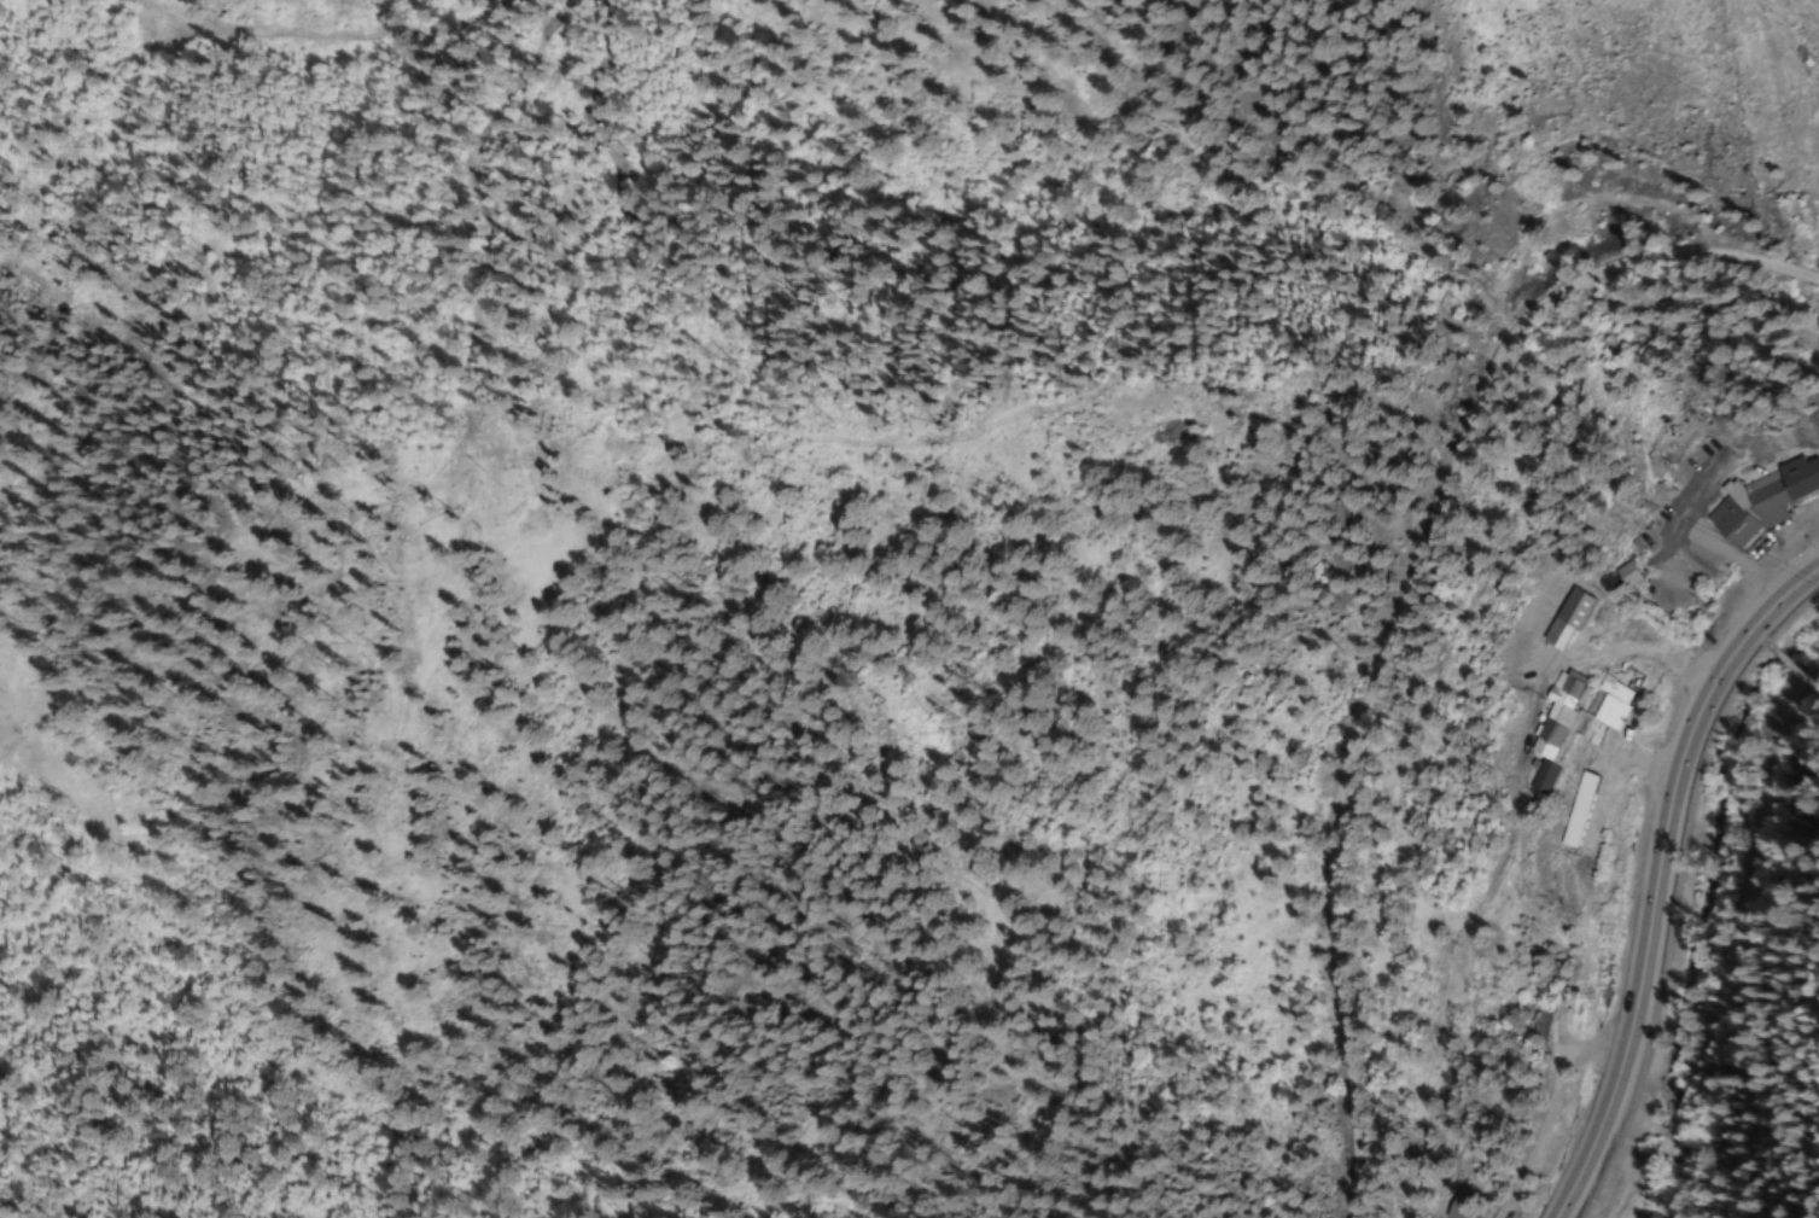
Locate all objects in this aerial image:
building: (1762, 503)
road: (1812, 519)
parking lot: (1801, 523)
building: (1672, 565)
road: (1394, 595)
building: (1561, 619)
building: (1607, 704)
building: (1549, 727)
building: (1574, 809)
road: (1658, 876)
road: (1733, 949)
building: (1534, 1022)

